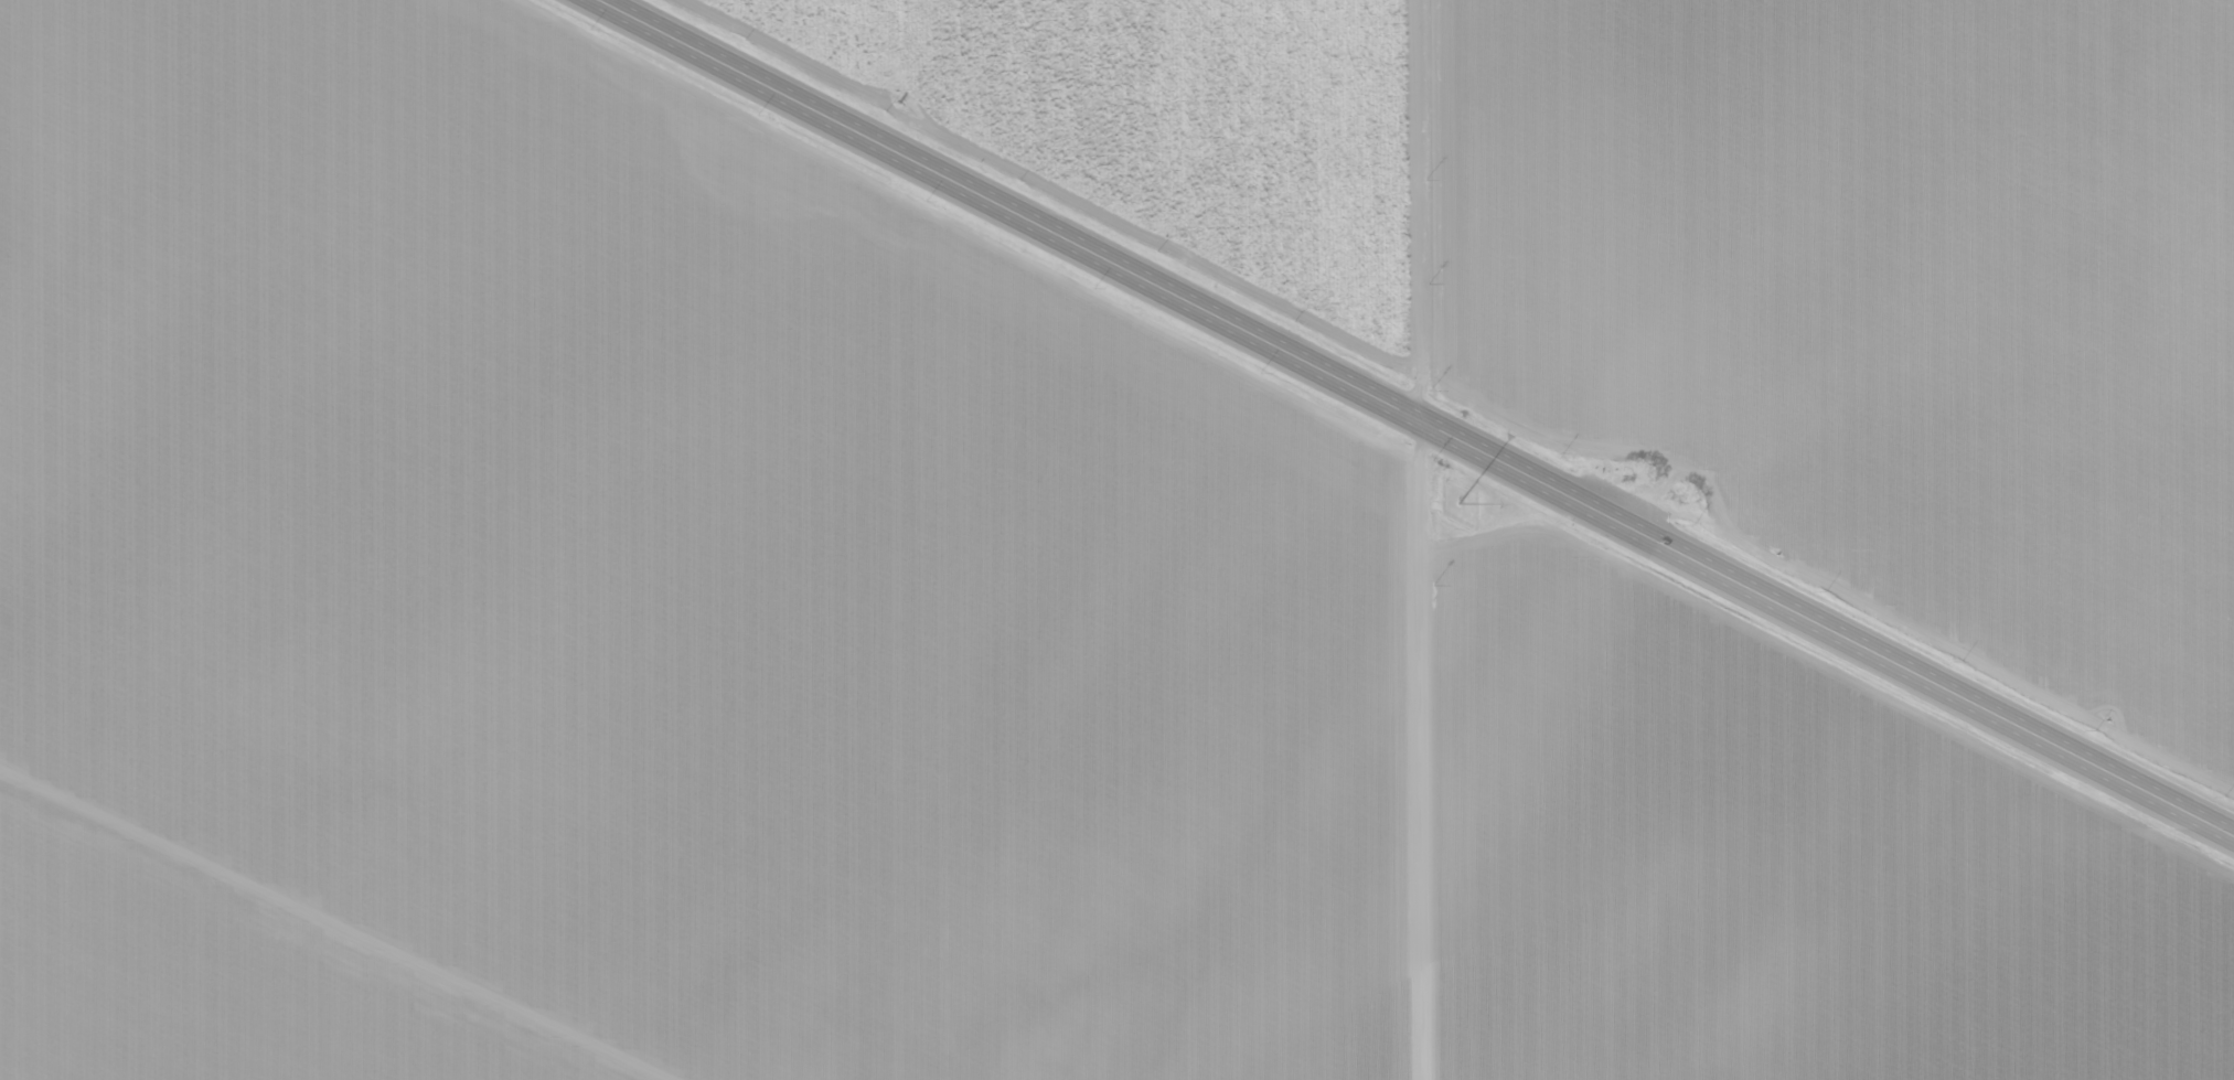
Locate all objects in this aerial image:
road: (1410, 416)
road: (1417, 539)

